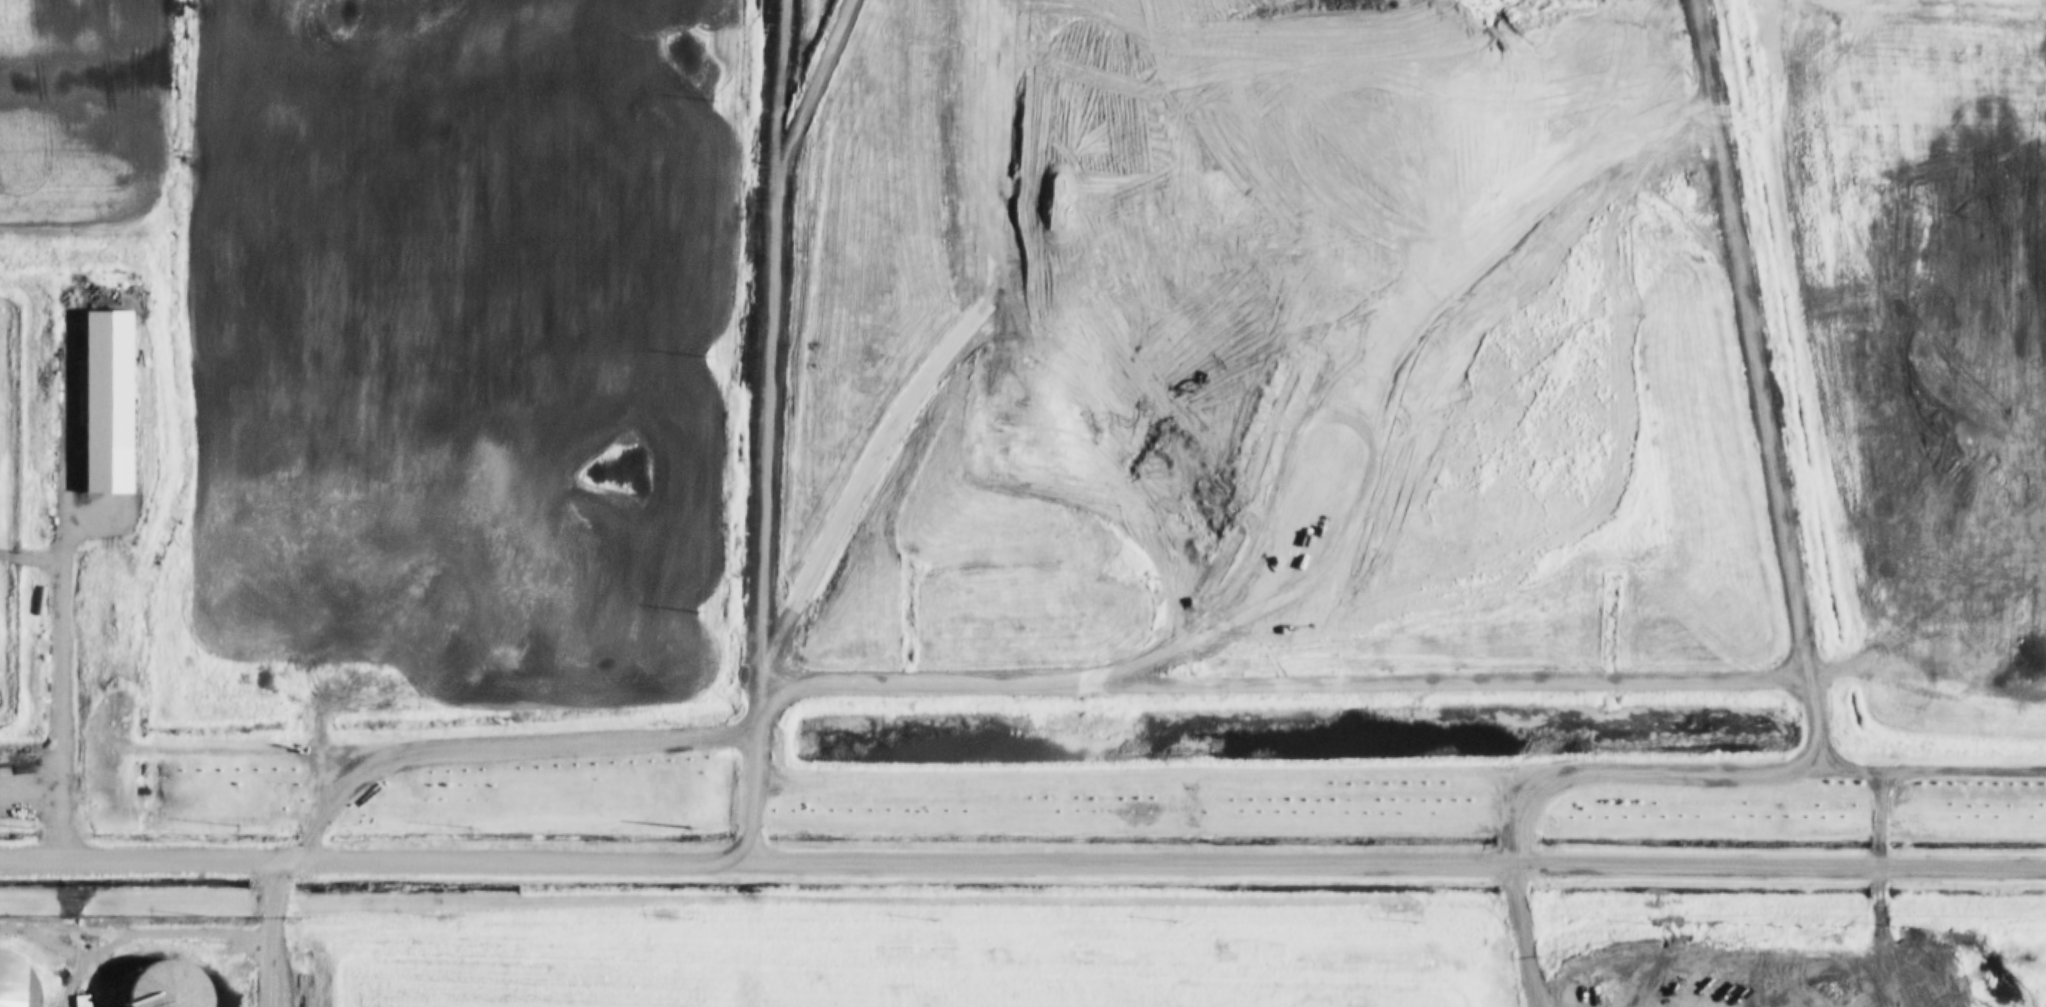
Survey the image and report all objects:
crop: (80, 122)
crop: (1916, 341)
road: (772, 346)
crop: (452, 360)
building: (100, 404)
road: (59, 679)
road: (1618, 686)
road: (752, 776)
road: (1023, 861)
road: (268, 933)
road: (162, 947)
building: (19, 984)
storage tank: (19, 984)
building: (169, 985)
storage tank: (169, 985)

